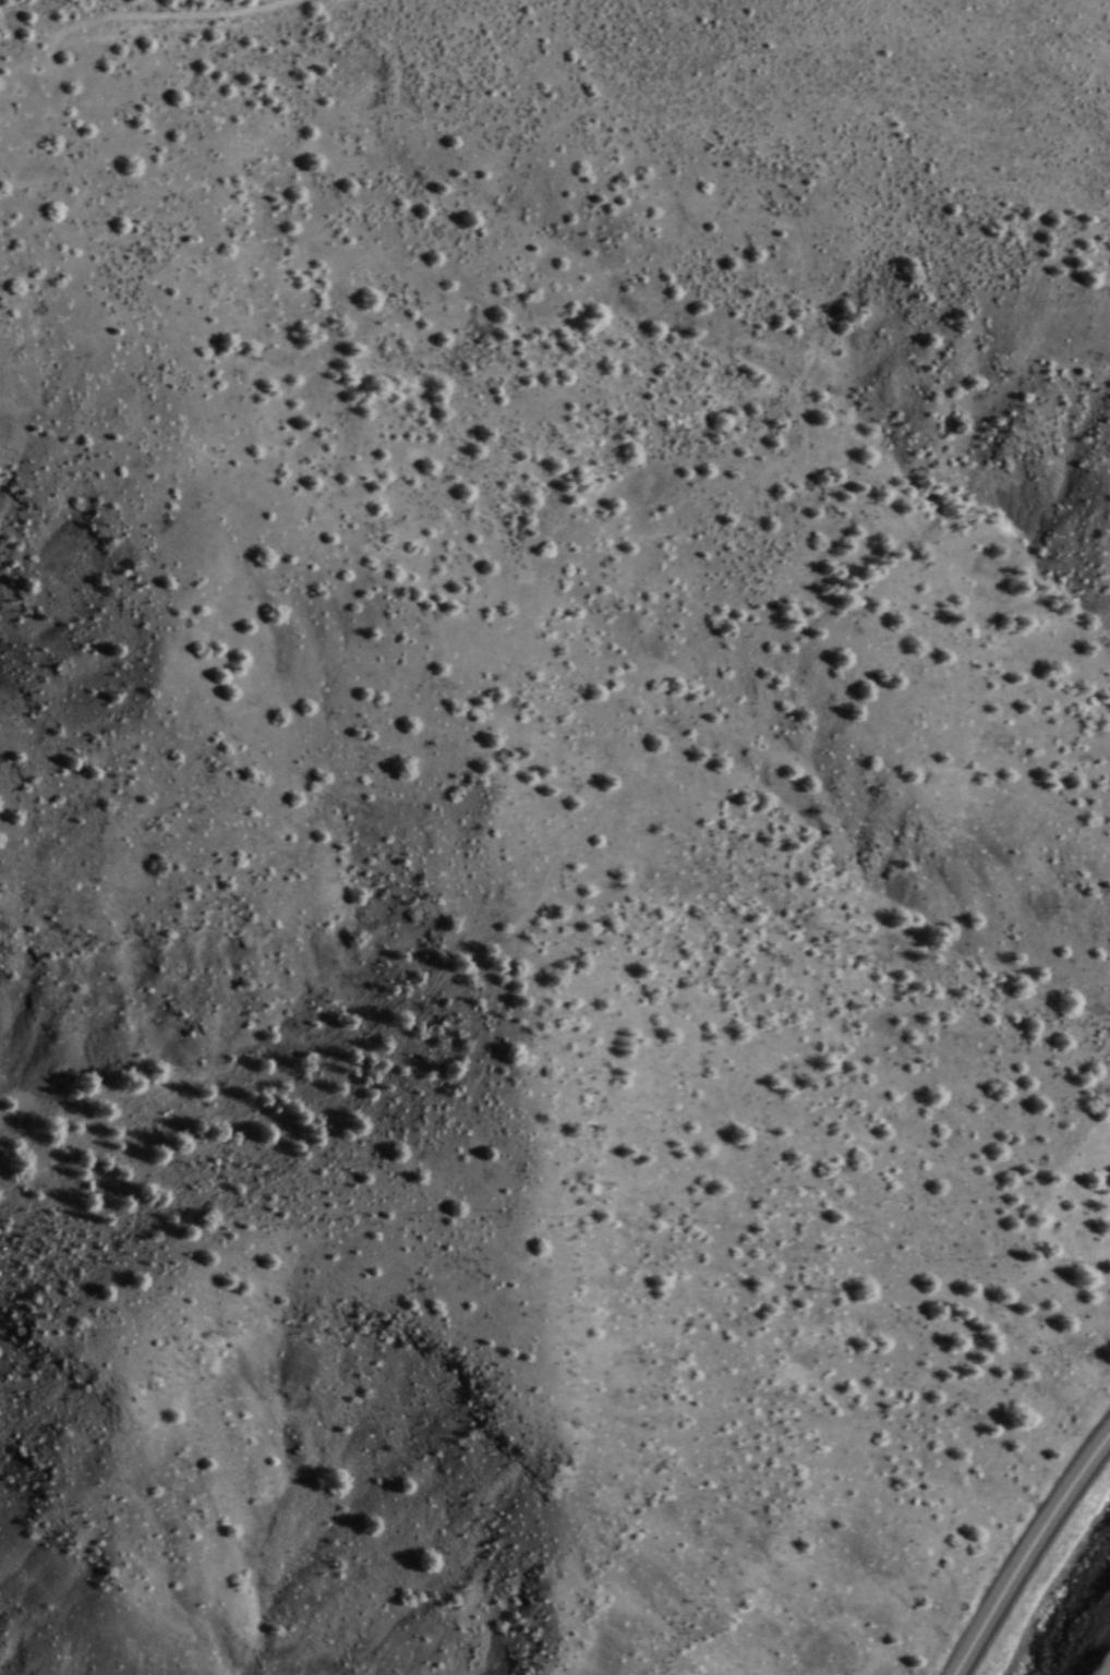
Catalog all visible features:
road: (1034, 1563)
river: (1083, 1658)

